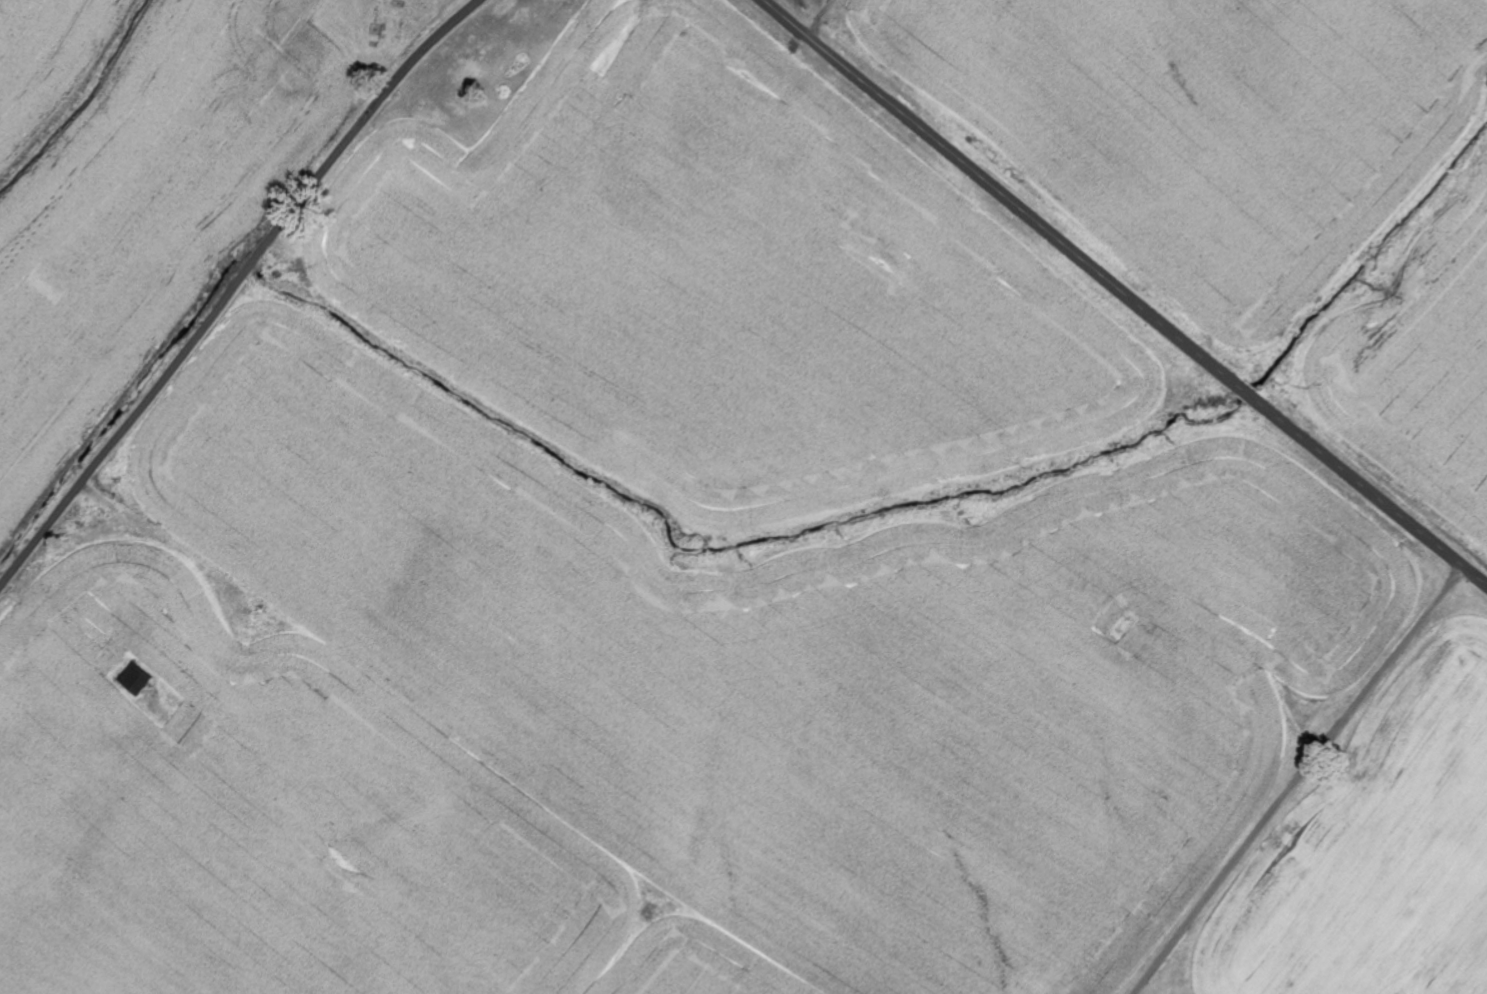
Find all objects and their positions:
park: (378, 26)
road: (234, 288)
road: (1124, 293)
building: (136, 681)

